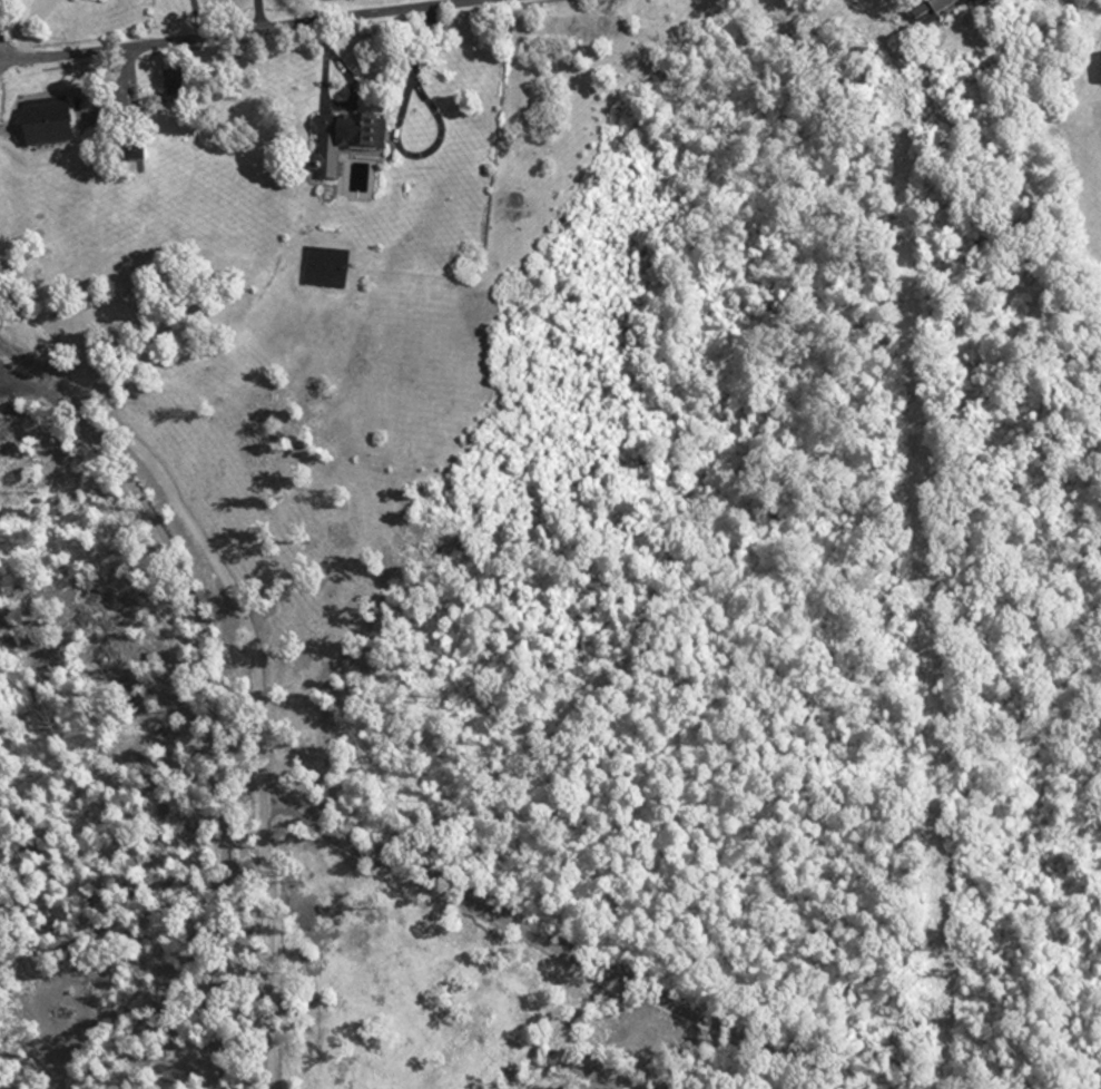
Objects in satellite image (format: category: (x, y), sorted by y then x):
building: (89, 0)
building: (927, 10)
road: (196, 20)
road: (245, 33)
building: (1100, 63)
road: (328, 107)
building: (43, 128)
road: (396, 134)
building: (340, 145)

